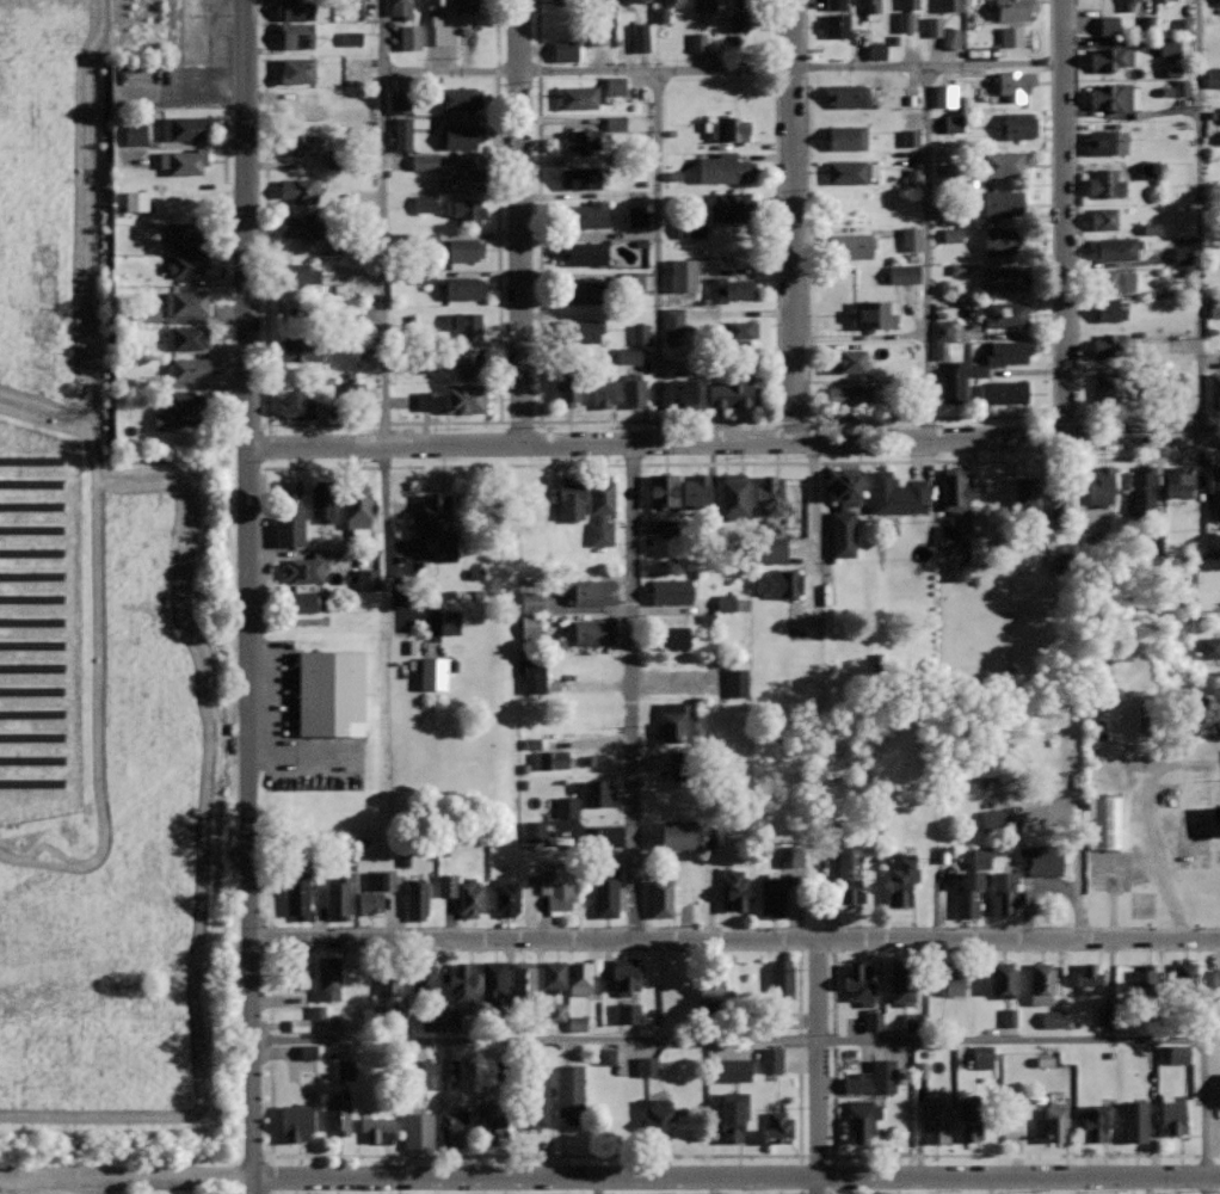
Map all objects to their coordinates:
building: (630, 0)
building: (1138, 0)
building: (1162, 0)
building: (606, 1)
building: (433, 2)
building: (677, 2)
building: (746, 4)
building: (910, 4)
building: (468, 5)
building: (833, 5)
building: (951, 5)
building: (1126, 5)
building: (704, 6)
building: (401, 7)
building: (295, 10)
building: (873, 10)
building: (1013, 10)
building: (660, 14)
building: (737, 21)
building: (902, 21)
building: (1145, 21)
building: (834, 24)
building: (1182, 25)
building: (932, 26)
building: (1108, 26)
building: (435, 31)
building: (298, 33)
building: (1010, 36)
building: (408, 37)
building: (596, 37)
building: (639, 37)
building: (350, 38)
building: (950, 38)
building: (697, 42)
building: (1167, 48)
building: (563, 50)
building: (875, 51)
building: (1111, 57)
building: (296, 69)
road: (722, 69)
building: (1213, 78)
building: (1015, 82)
building: (614, 86)
building: (1182, 88)
building: (848, 94)
building: (581, 96)
building: (943, 96)
building: (1115, 97)
building: (461, 98)
building: (399, 103)
building: (953, 124)
building: (1019, 124)
building: (183, 125)
building: (728, 128)
building: (402, 133)
building: (134, 135)
building: (462, 136)
building: (848, 137)
building: (583, 139)
building: (908, 139)
building: (1107, 141)
building: (298, 143)
building: (184, 160)
building: (423, 162)
building: (1002, 162)
building: (725, 167)
building: (852, 170)
building: (1145, 171)
building: (942, 173)
building: (580, 177)
building: (912, 177)
building: (464, 179)
building: (1107, 183)
building: (301, 189)
building: (172, 196)
building: (134, 201)
building: (1003, 202)
building: (423, 203)
building: (733, 207)
building: (466, 209)
building: (589, 213)
building: (635, 216)
building: (1104, 217)
road: (1200, 217)
road: (1065, 219)
road: (793, 220)
road: (383, 222)
road: (522, 222)
building: (301, 226)
building: (690, 228)
building: (1150, 228)
building: (189, 233)
building: (950, 235)
building: (427, 239)
building: (910, 239)
building: (999, 240)
building: (851, 245)
building: (1116, 246)
building: (466, 247)
building: (585, 252)
road: (928, 253)
building: (1181, 256)
road: (658, 257)
building: (186, 264)
building: (957, 269)
building: (902, 273)
building: (298, 275)
building: (680, 276)
building: (421, 277)
building: (1004, 277)
road: (1073, 279)
building: (1113, 279)
building: (631, 282)
building: (464, 287)
building: (731, 289)
building: (586, 291)
building: (187, 302)
building: (296, 308)
building: (1213, 308)
building: (1105, 309)
building: (1005, 313)
building: (874, 314)
building: (672, 320)
building: (464, 324)
building: (738, 327)
building: (585, 328)
building: (942, 331)
building: (186, 337)
road: (861, 340)
building: (633, 345)
building: (1110, 345)
building: (302, 349)
building: (939, 350)
building: (999, 356)
building: (848, 361)
building: (470, 362)
building: (189, 369)
building: (953, 381)
building: (569, 388)
building: (633, 389)
building: (1215, 389)
building: (1004, 390)
building: (602, 392)
building: (680, 392)
building: (731, 392)
building: (1107, 392)
building: (854, 395)
building: (455, 399)
building: (183, 406)
building: (297, 406)
road: (926, 418)
road: (657, 420)
road: (382, 423)
road: (734, 442)
road: (930, 461)
road: (442, 466)
building: (1177, 480)
building: (1102, 482)
building: (1215, 488)
building: (535, 490)
building: (664, 490)
building: (954, 490)
building: (696, 491)
building: (1061, 491)
building: (1144, 491)
building: (732, 492)
building: (896, 493)
building: (1028, 493)
building: (770, 494)
building: (322, 498)
building: (571, 499)
building: (357, 503)
building: (602, 510)
building: (290, 513)
building: (435, 525)
building: (665, 528)
building: (843, 534)
building: (945, 535)
road: (813, 537)
building: (974, 549)
building: (768, 550)
building: (306, 566)
building: (960, 571)
building: (474, 574)
building: (365, 579)
building: (780, 581)
building: (303, 587)
building: (587, 591)
building: (671, 591)
road: (248, 596)
building: (303, 601)
building: (530, 601)
building: (723, 603)
solar farm: (38, 622)
building: (449, 622)
building: (529, 627)
building: (593, 630)
building: (670, 635)
building: (1209, 648)
building: (432, 675)
building: (534, 675)
building: (737, 684)
road: (631, 691)
building: (331, 693)
building: (670, 720)
building: (984, 757)
building: (554, 758)
building: (594, 792)
building: (563, 807)
building: (990, 819)
building: (1104, 823)
building: (1219, 823)
building: (532, 832)
building: (676, 835)
building: (708, 837)
building: (789, 860)
building: (1040, 860)
building: (849, 872)
building: (901, 876)
building: (971, 881)
building: (376, 888)
building: (555, 890)
building: (734, 890)
building: (462, 891)
building: (1005, 891)
building: (605, 893)
building: (297, 894)
building: (507, 895)
building: (339, 897)
building: (661, 897)
building: (772, 897)
building: (417, 899)
road: (450, 927)
road: (928, 927)
road: (734, 940)
road: (531, 948)
building: (298, 968)
building: (627, 973)
building: (583, 974)
building: (554, 975)
building: (328, 977)
building: (390, 977)
building: (1185, 977)
building: (423, 978)
building: (954, 978)
building: (1003, 978)
building: (1089, 978)
building: (523, 979)
building: (1215, 979)
building: (493, 980)
building: (781, 980)
building: (904, 980)
building: (1142, 980)
building: (462, 981)
building: (858, 981)
building: (677, 983)
building: (1042, 983)
building: (714, 991)
building: (556, 1013)
building: (627, 1014)
building: (316, 1015)
building: (1009, 1017)
building: (1052, 1020)
building: (439, 1021)
building: (873, 1021)
building: (913, 1022)
building: (575, 1024)
building: (296, 1026)
road: (793, 1040)
road: (832, 1051)
building: (306, 1052)
building: (1177, 1054)
building: (605, 1057)
building: (981, 1057)
building: (1043, 1059)
building: (770, 1060)
building: (645, 1066)
road: (819, 1066)
building: (343, 1070)
building: (733, 1070)
building: (919, 1071)
building: (445, 1073)
building: (419, 1075)
building: (882, 1077)
building: (858, 1082)
building: (571, 1089)
building: (537, 1096)
building: (733, 1113)
building: (1172, 1113)
building: (338, 1114)
building: (655, 1115)
building: (862, 1118)
building: (971, 1118)
building: (935, 1119)
building: (1056, 1120)
building: (1134, 1120)
building: (1096, 1121)
building: (297, 1122)
building: (491, 1122)
building: (451, 1126)
building: (376, 1127)
building: (777, 1127)
building: (418, 1130)
road: (639, 1155)
road: (610, 1177)
road: (1207, 1186)

